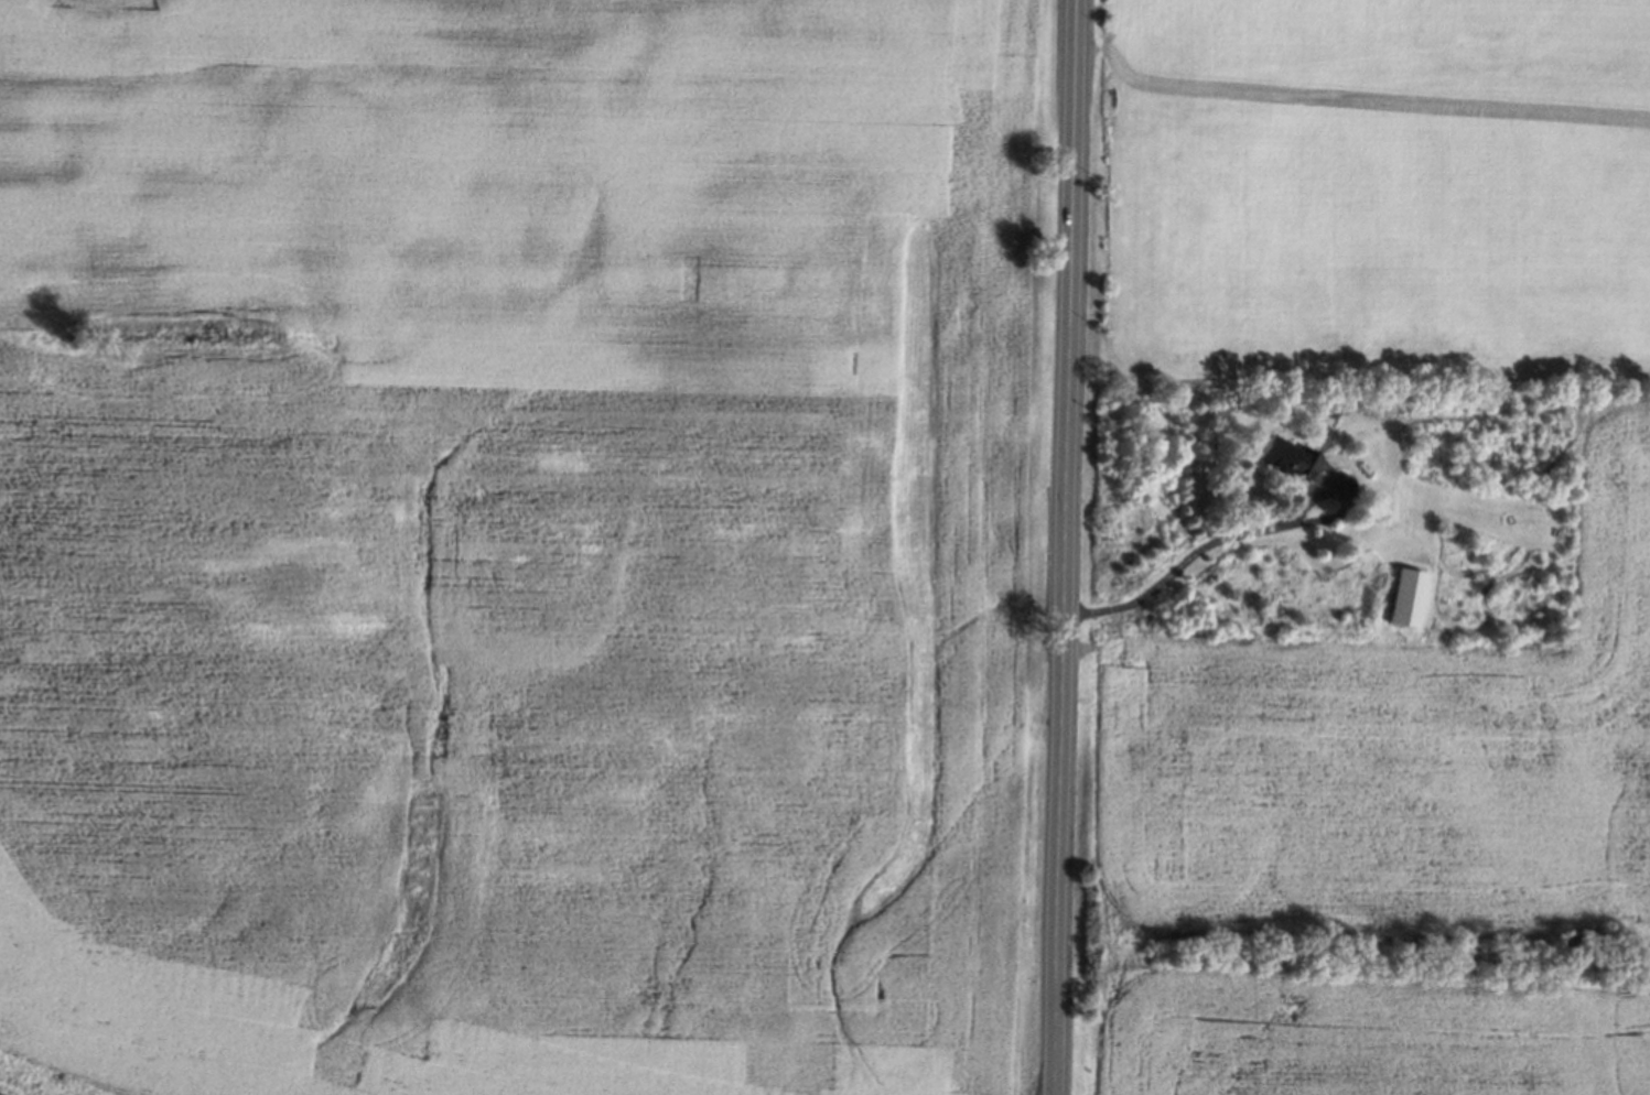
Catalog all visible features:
building: (1290, 458)
road: (1247, 530)
road: (1063, 546)
building: (1408, 597)

